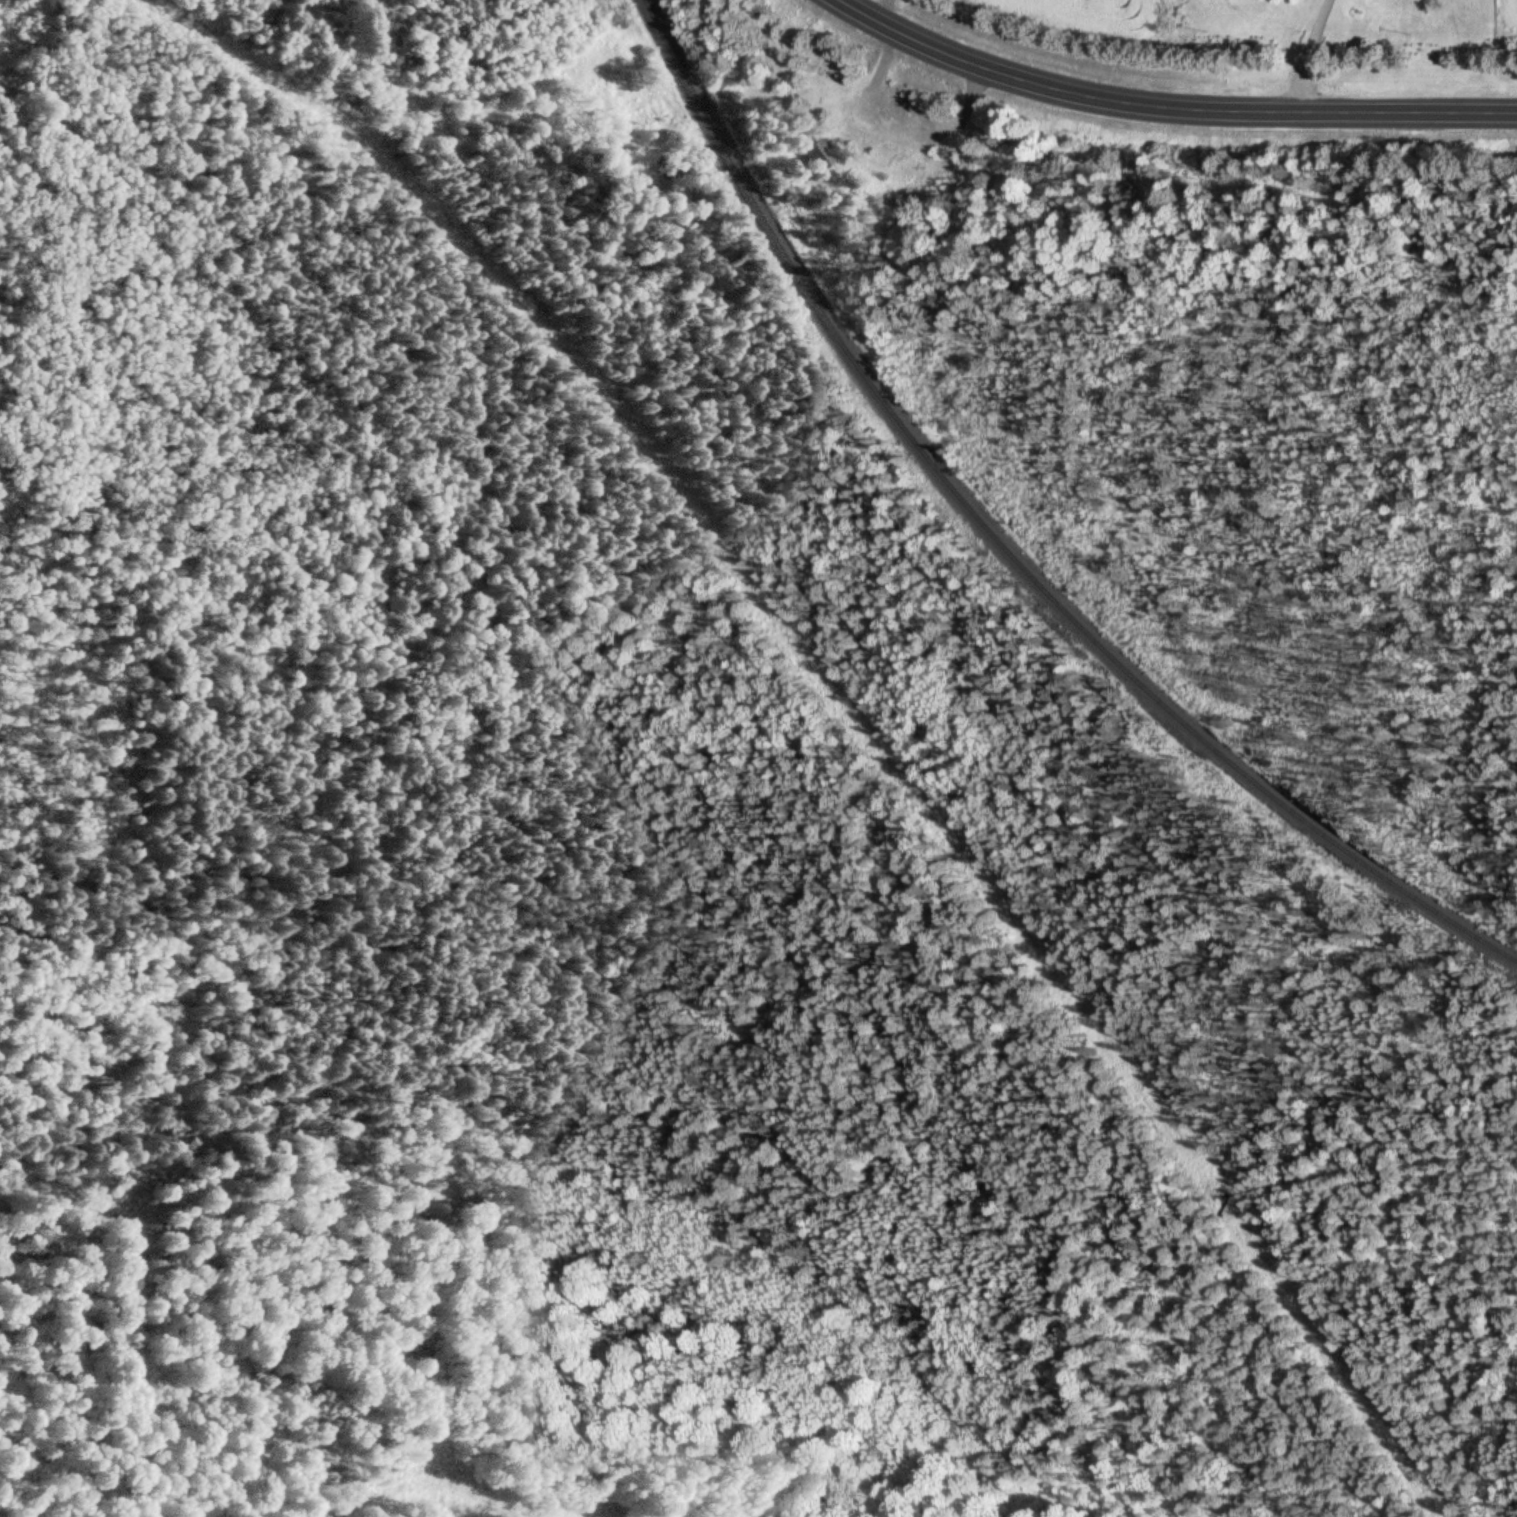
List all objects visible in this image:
road: (1169, 110)
building: (815, 156)
railway: (1011, 546)

